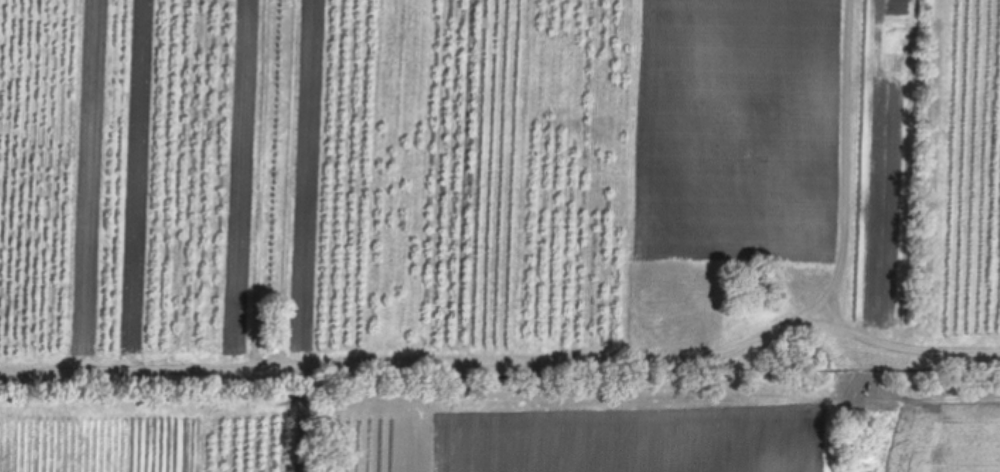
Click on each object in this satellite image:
road: (907, 349)
road: (577, 359)

